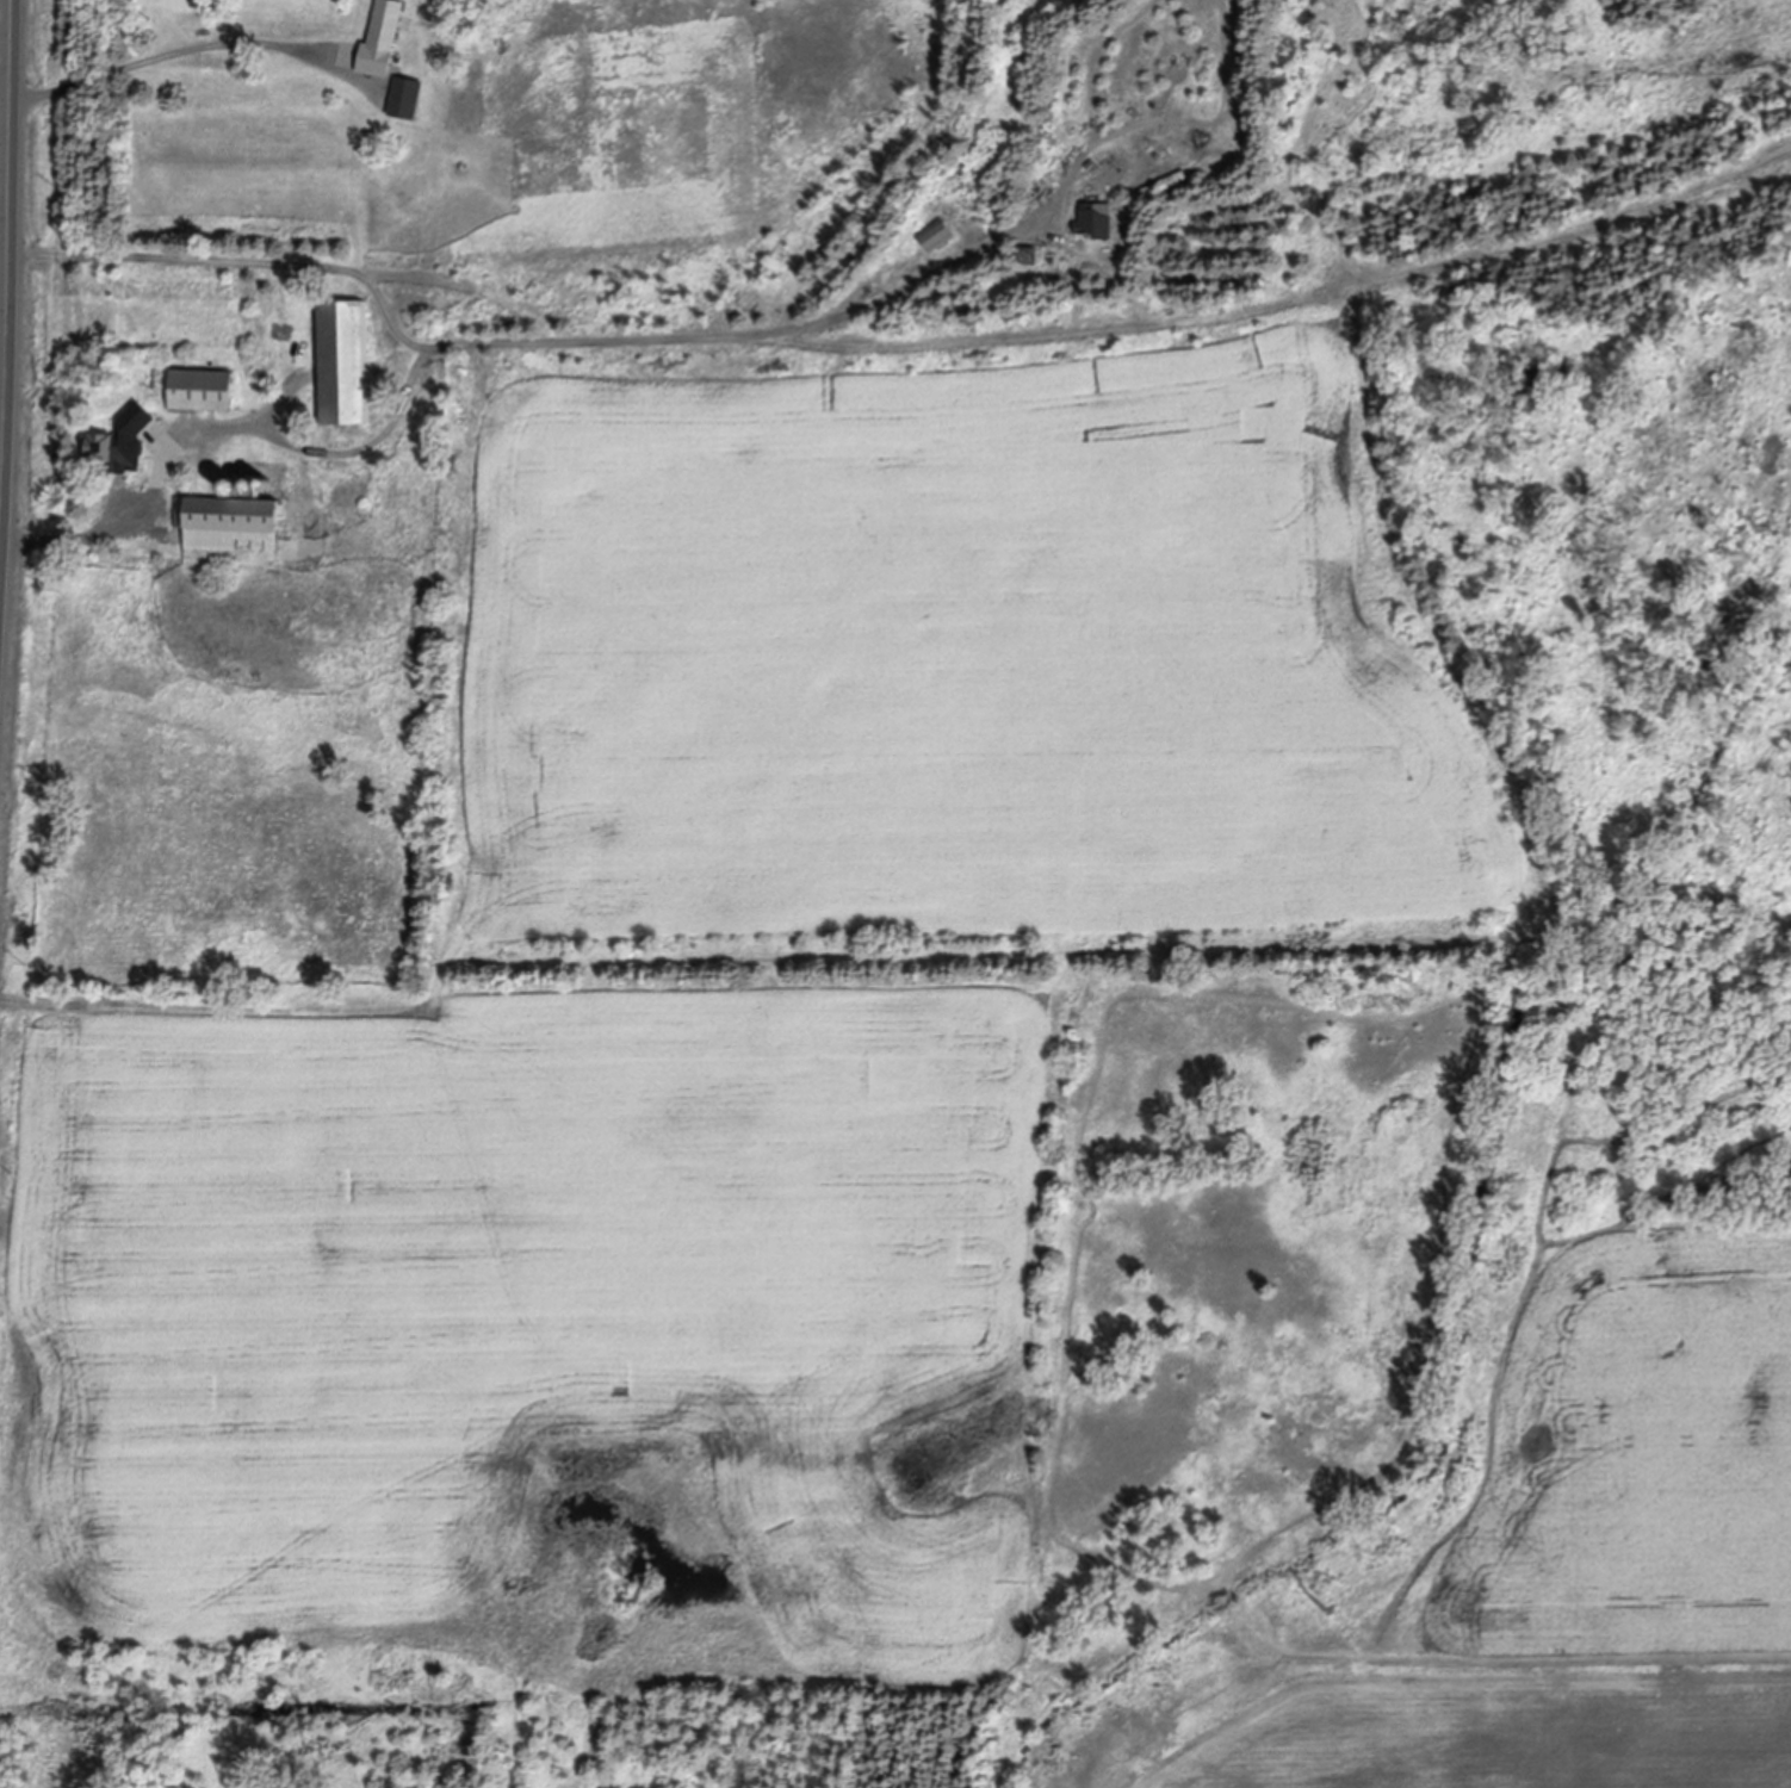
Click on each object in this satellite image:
building: (383, 35)
road: (171, 52)
building: (1048, 167)
building: (1165, 176)
building: (1107, 224)
building: (1152, 252)
building: (92, 272)
road: (10, 293)
road: (489, 331)
building: (343, 354)
building: (202, 383)
building: (120, 434)
building: (267, 480)
building: (253, 482)
building: (231, 523)

